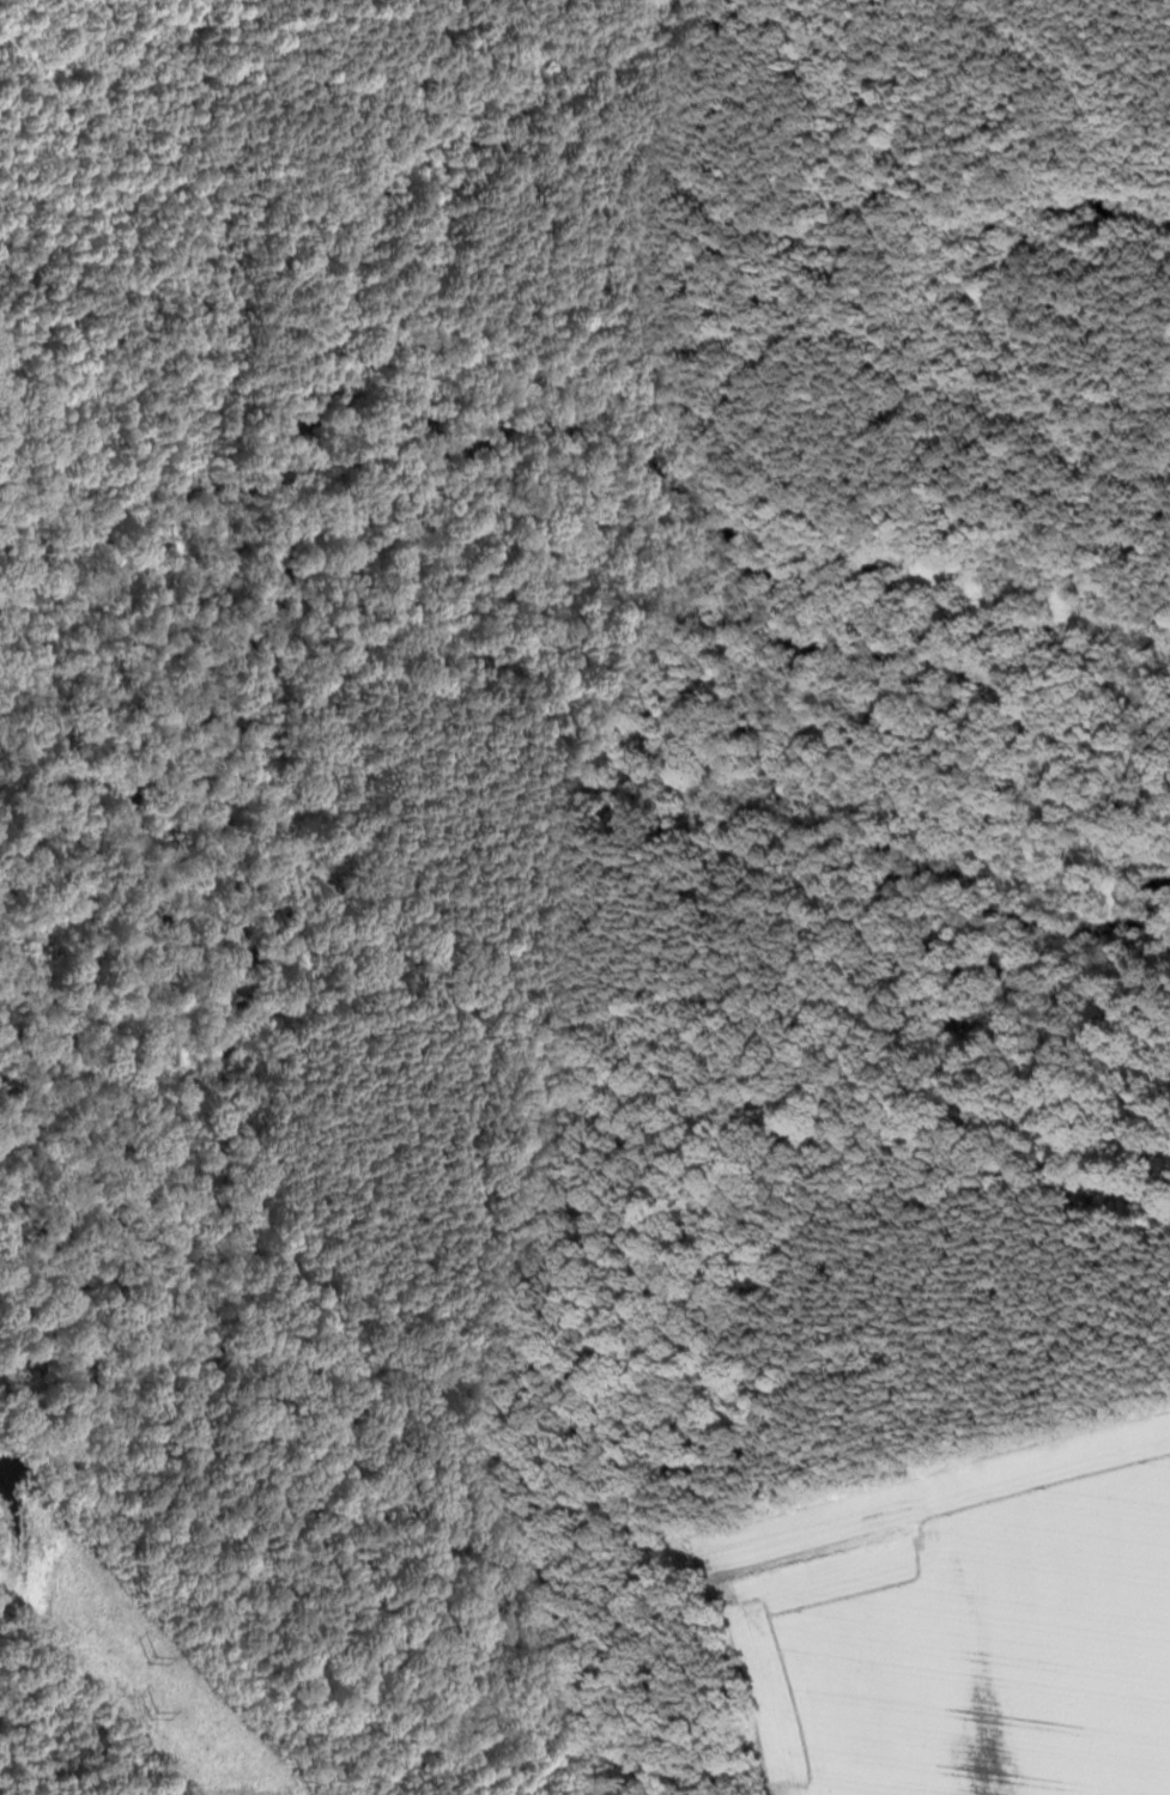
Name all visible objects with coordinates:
power tower: (156, 1661)
power tower: (159, 1715)

